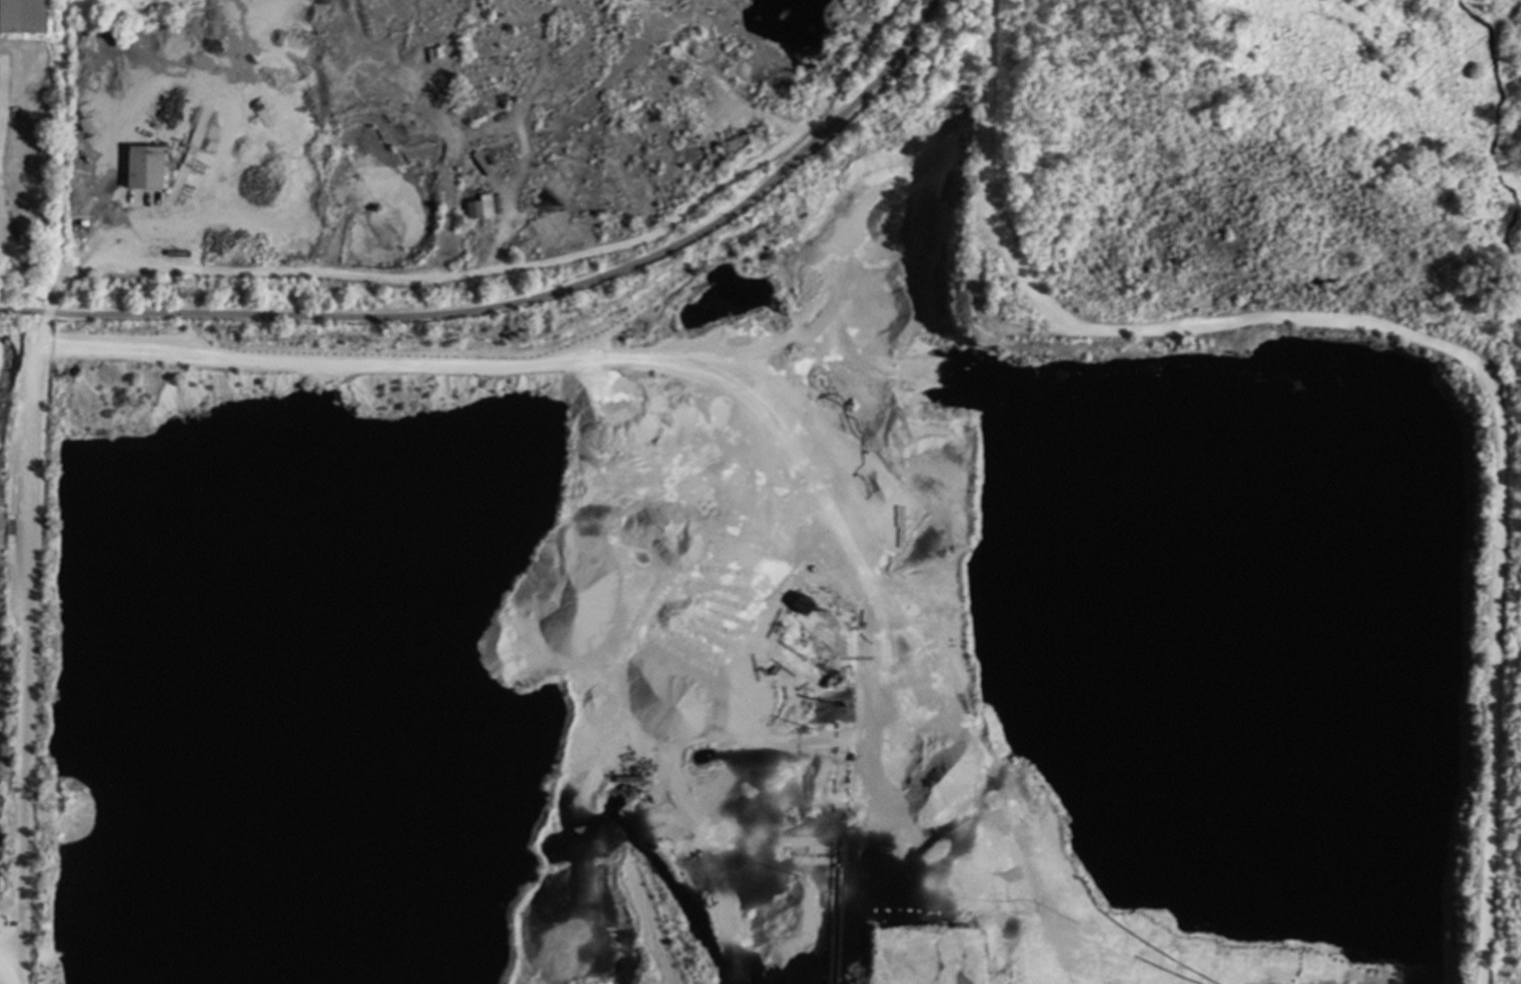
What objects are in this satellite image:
building: (22, 15)
quarry: (420, 138)
building: (143, 166)
building: (479, 206)
road: (523, 301)
building: (806, 603)
quarry: (773, 614)
road: (1481, 950)

